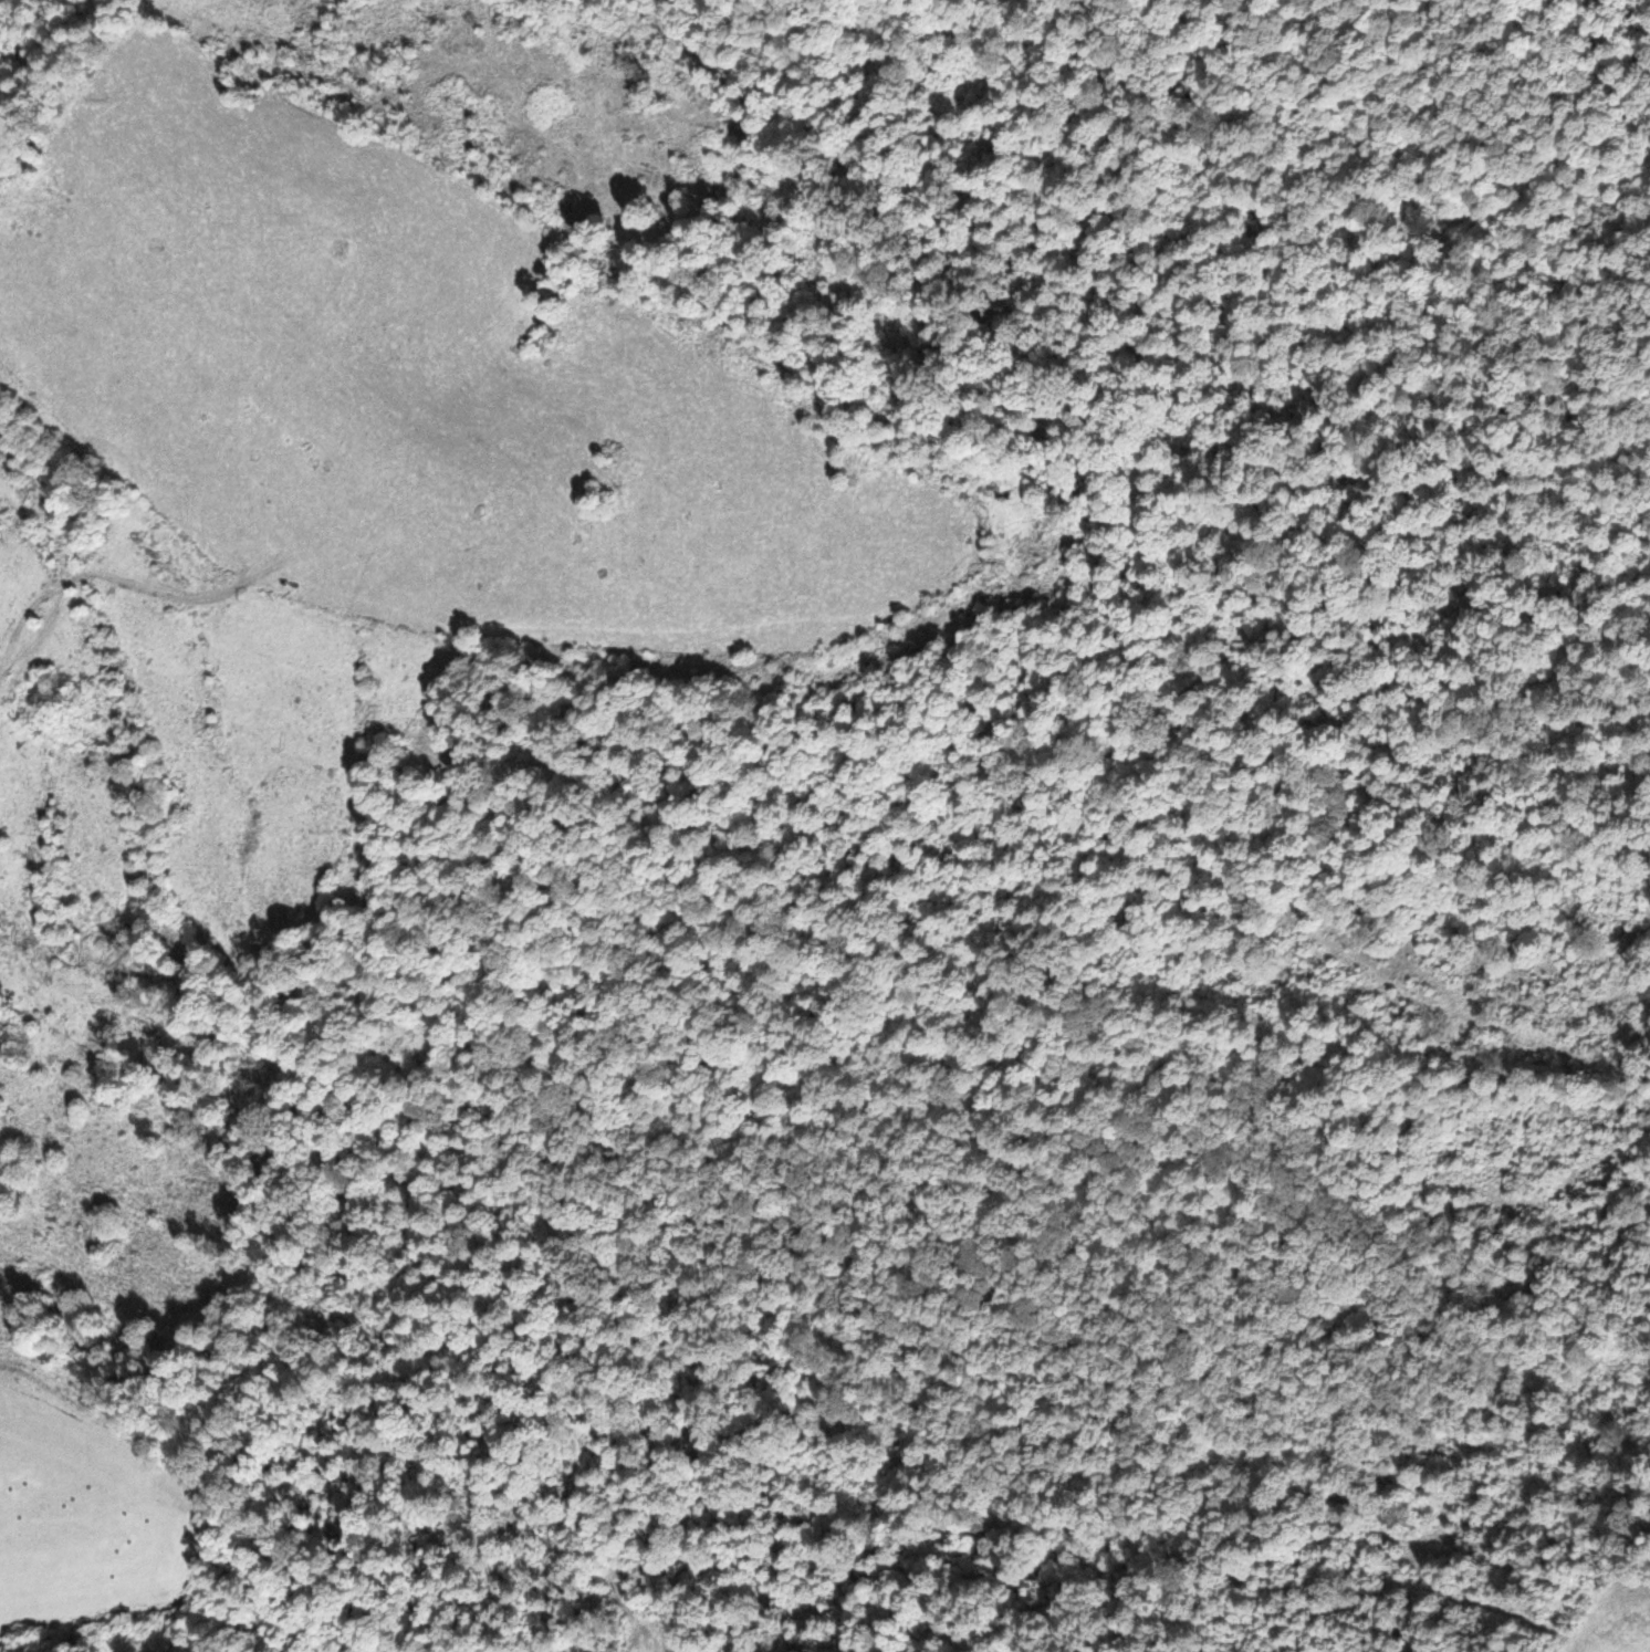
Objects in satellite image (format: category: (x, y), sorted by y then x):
road: (116, 582)

